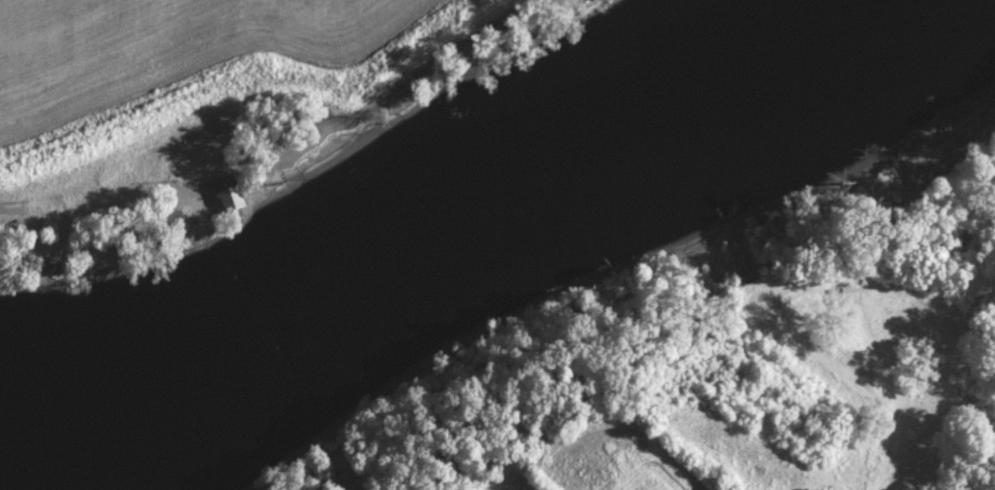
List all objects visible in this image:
building: (223, 195)
building: (169, 222)
road: (101, 242)
river: (472, 259)
building: (39, 265)
river: (106, 457)

